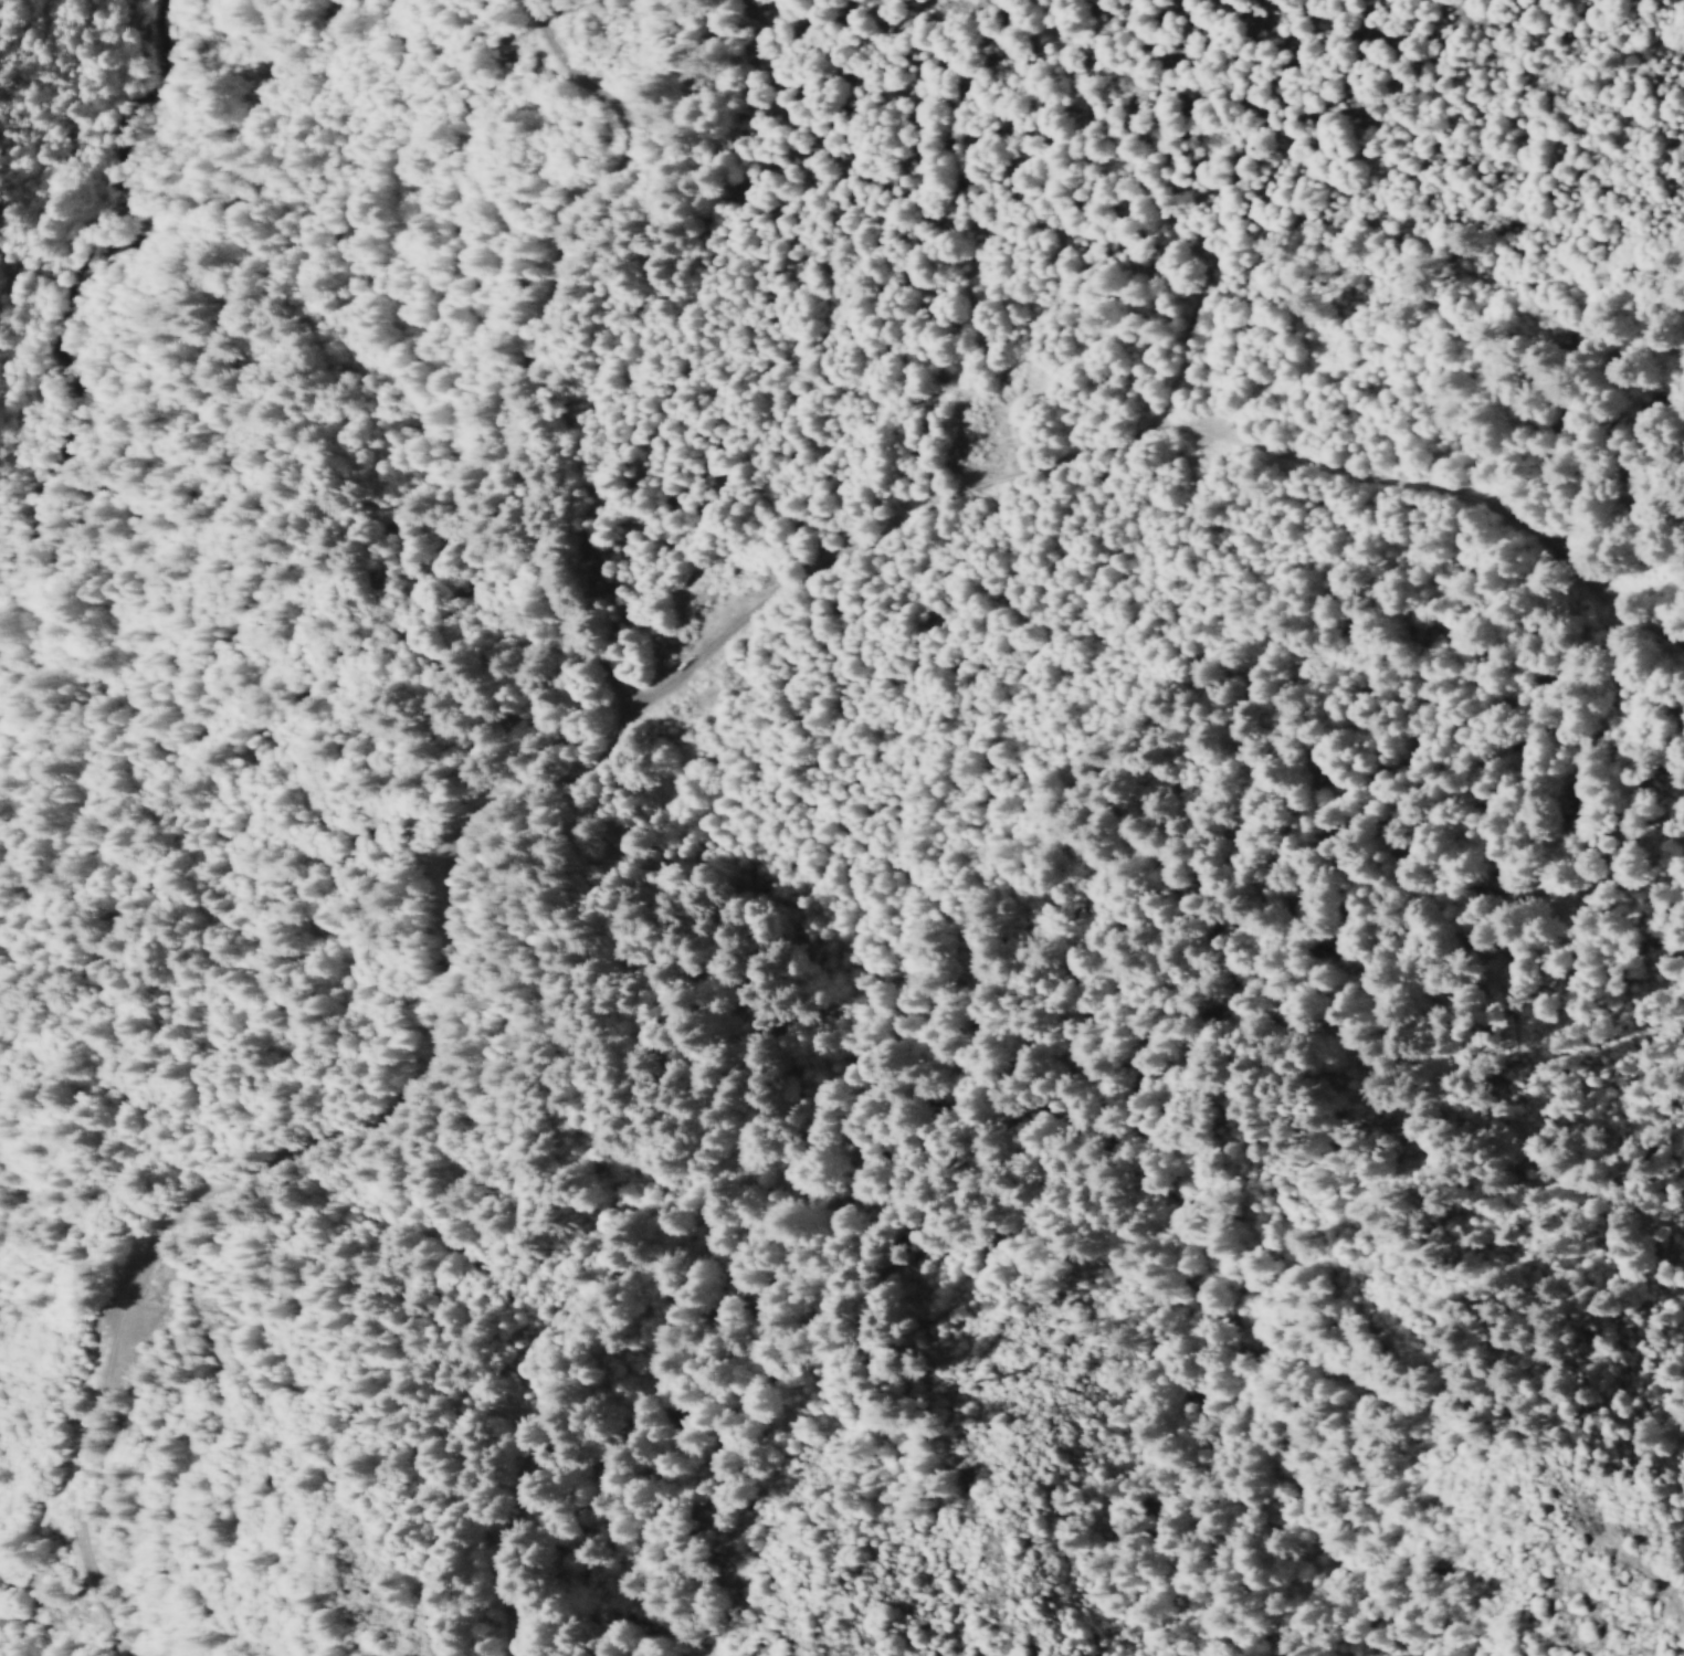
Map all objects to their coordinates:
road: (1189, 226)
road: (1134, 482)
road: (443, 835)

